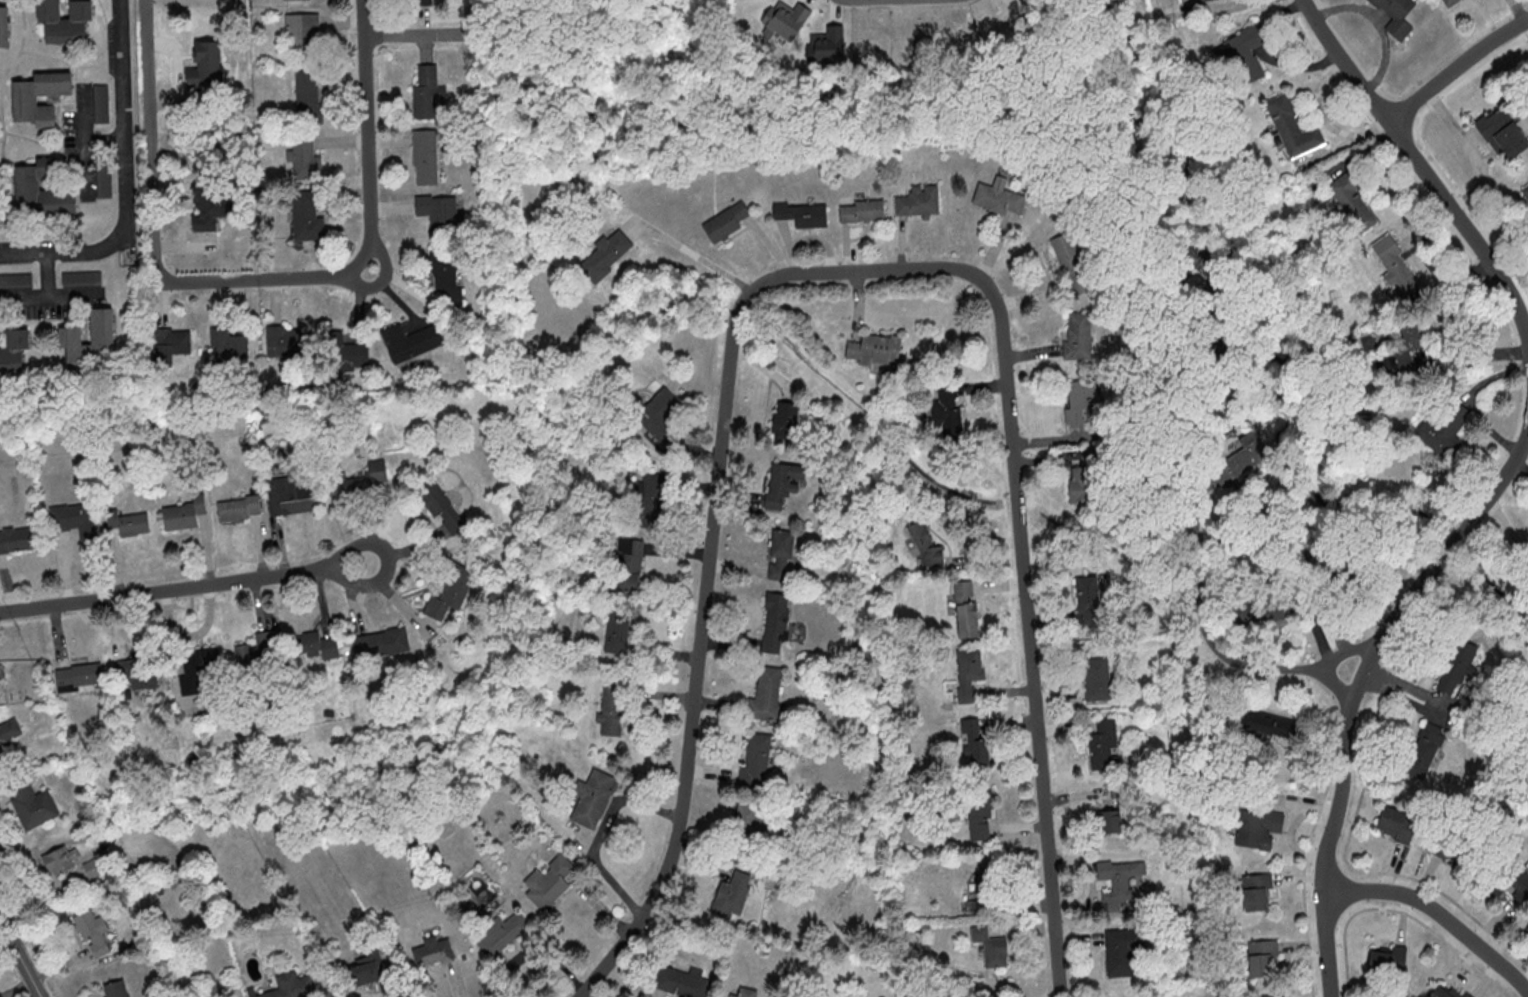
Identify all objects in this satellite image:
building: (1200, 0)
building: (421, 2)
building: (1449, 2)
building: (1396, 15)
building: (65, 20)
building: (4, 26)
building: (302, 35)
road: (419, 36)
building: (1241, 55)
building: (207, 64)
road: (1457, 69)
building: (429, 93)
building: (307, 95)
building: (26, 100)
building: (101, 103)
road: (125, 121)
building: (1293, 128)
building: (1502, 132)
road: (369, 144)
building: (426, 156)
building: (305, 159)
road: (1420, 163)
building: (104, 181)
building: (42, 189)
building: (1525, 191)
building: (999, 197)
building: (919, 201)
building: (1352, 201)
building: (208, 206)
building: (862, 210)
building: (439, 211)
building: (802, 214)
building: (306, 218)
building: (726, 222)
road: (152, 232)
road: (60, 252)
road: (695, 253)
building: (607, 254)
building: (1071, 263)
building: (1398, 273)
building: (1206, 275)
building: (445, 277)
building: (70, 335)
building: (1077, 335)
building: (411, 341)
building: (287, 342)
building: (170, 344)
building: (229, 346)
building: (875, 349)
building: (14, 350)
building: (343, 353)
building: (1405, 353)
building: (1081, 400)
building: (947, 409)
building: (660, 415)
building: (785, 420)
building: (1446, 427)
building: (1245, 455)
building: (1084, 475)
road: (1194, 482)
building: (360, 483)
building: (783, 484)
building: (647, 491)
building: (290, 496)
building: (442, 507)
building: (239, 509)
building: (184, 513)
building: (74, 519)
building: (130, 520)
road: (714, 531)
building: (18, 539)
building: (927, 547)
building: (781, 554)
road: (386, 561)
building: (630, 563)
road: (162, 592)
building: (451, 592)
building: (1088, 599)
building: (966, 609)
building: (776, 622)
building: (617, 632)
building: (381, 643)
road: (1031, 643)
building: (318, 646)
building: (253, 654)
road: (1294, 666)
building: (1458, 667)
building: (970, 671)
building: (200, 672)
building: (79, 675)
building: (139, 675)
building: (1, 676)
building: (1097, 679)
road: (1344, 684)
building: (766, 694)
building: (612, 709)
building: (1267, 724)
building: (10, 731)
building: (975, 742)
building: (1104, 745)
building: (756, 758)
building: (593, 798)
building: (34, 805)
building: (980, 815)
building: (747, 820)
building: (1109, 820)
building: (1396, 824)
building: (1259, 828)
building: (1450, 845)
building: (62, 858)
building: (94, 867)
building: (987, 874)
building: (1122, 880)
building: (1513, 881)
building: (550, 883)
building: (1258, 891)
building: (730, 899)
building: (981, 905)
road: (1439, 913)
building: (93, 931)
building: (1527, 932)
building: (500, 934)
building: (991, 946)
building: (432, 951)
building: (1123, 952)
road: (21, 956)
building: (1263, 958)
building: (1387, 960)
building: (367, 965)
building: (679, 984)
building: (290, 986)
building: (115, 989)
building: (1446, 990)
building: (747, 992)
building: (1272, 995)

